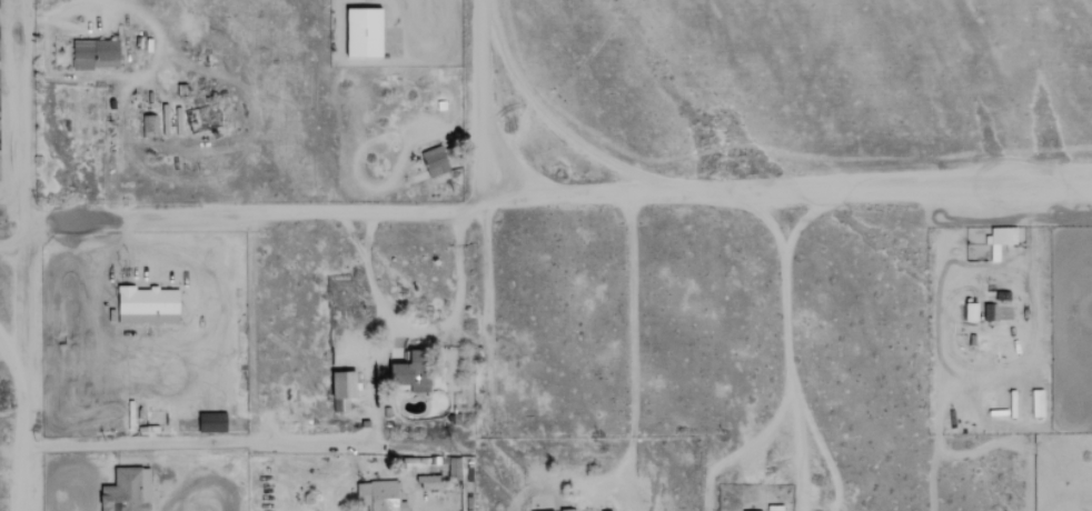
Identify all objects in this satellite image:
road: (97, 7)
building: (366, 31)
building: (96, 53)
road: (490, 101)
building: (147, 124)
building: (436, 160)
road: (545, 202)
building: (1005, 236)
road: (26, 254)
road: (784, 260)
building: (149, 301)
building: (972, 311)
road: (417, 328)
road: (946, 342)
road: (633, 355)
road: (367, 378)
road: (791, 387)
building: (345, 389)
building: (1038, 403)
building: (214, 422)
road: (276, 440)
road: (746, 445)
building: (433, 481)
building: (128, 490)
building: (383, 497)
building: (569, 510)
building: (576, 510)

